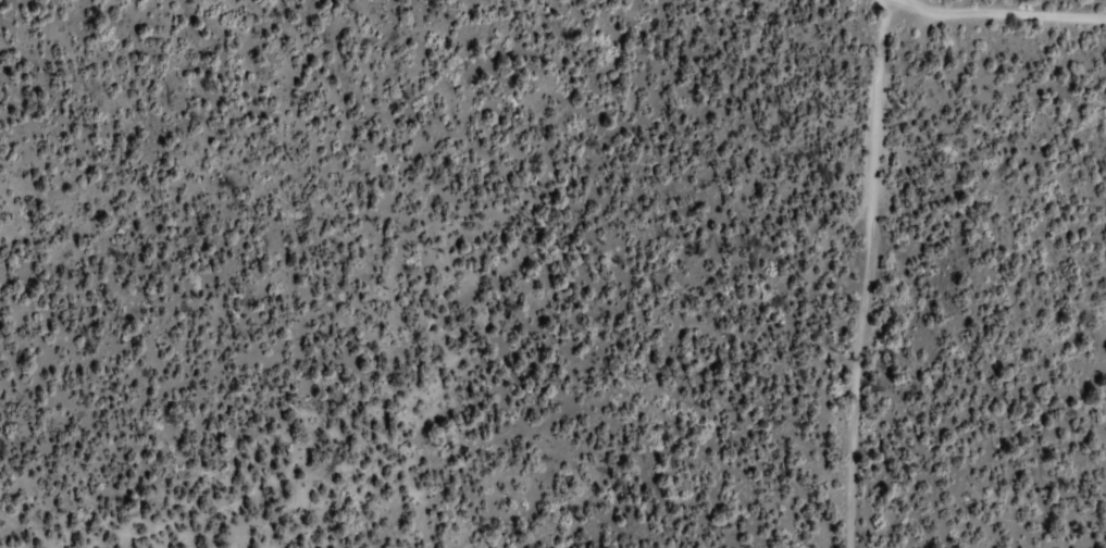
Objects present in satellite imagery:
road: (992, 13)
road: (862, 274)

